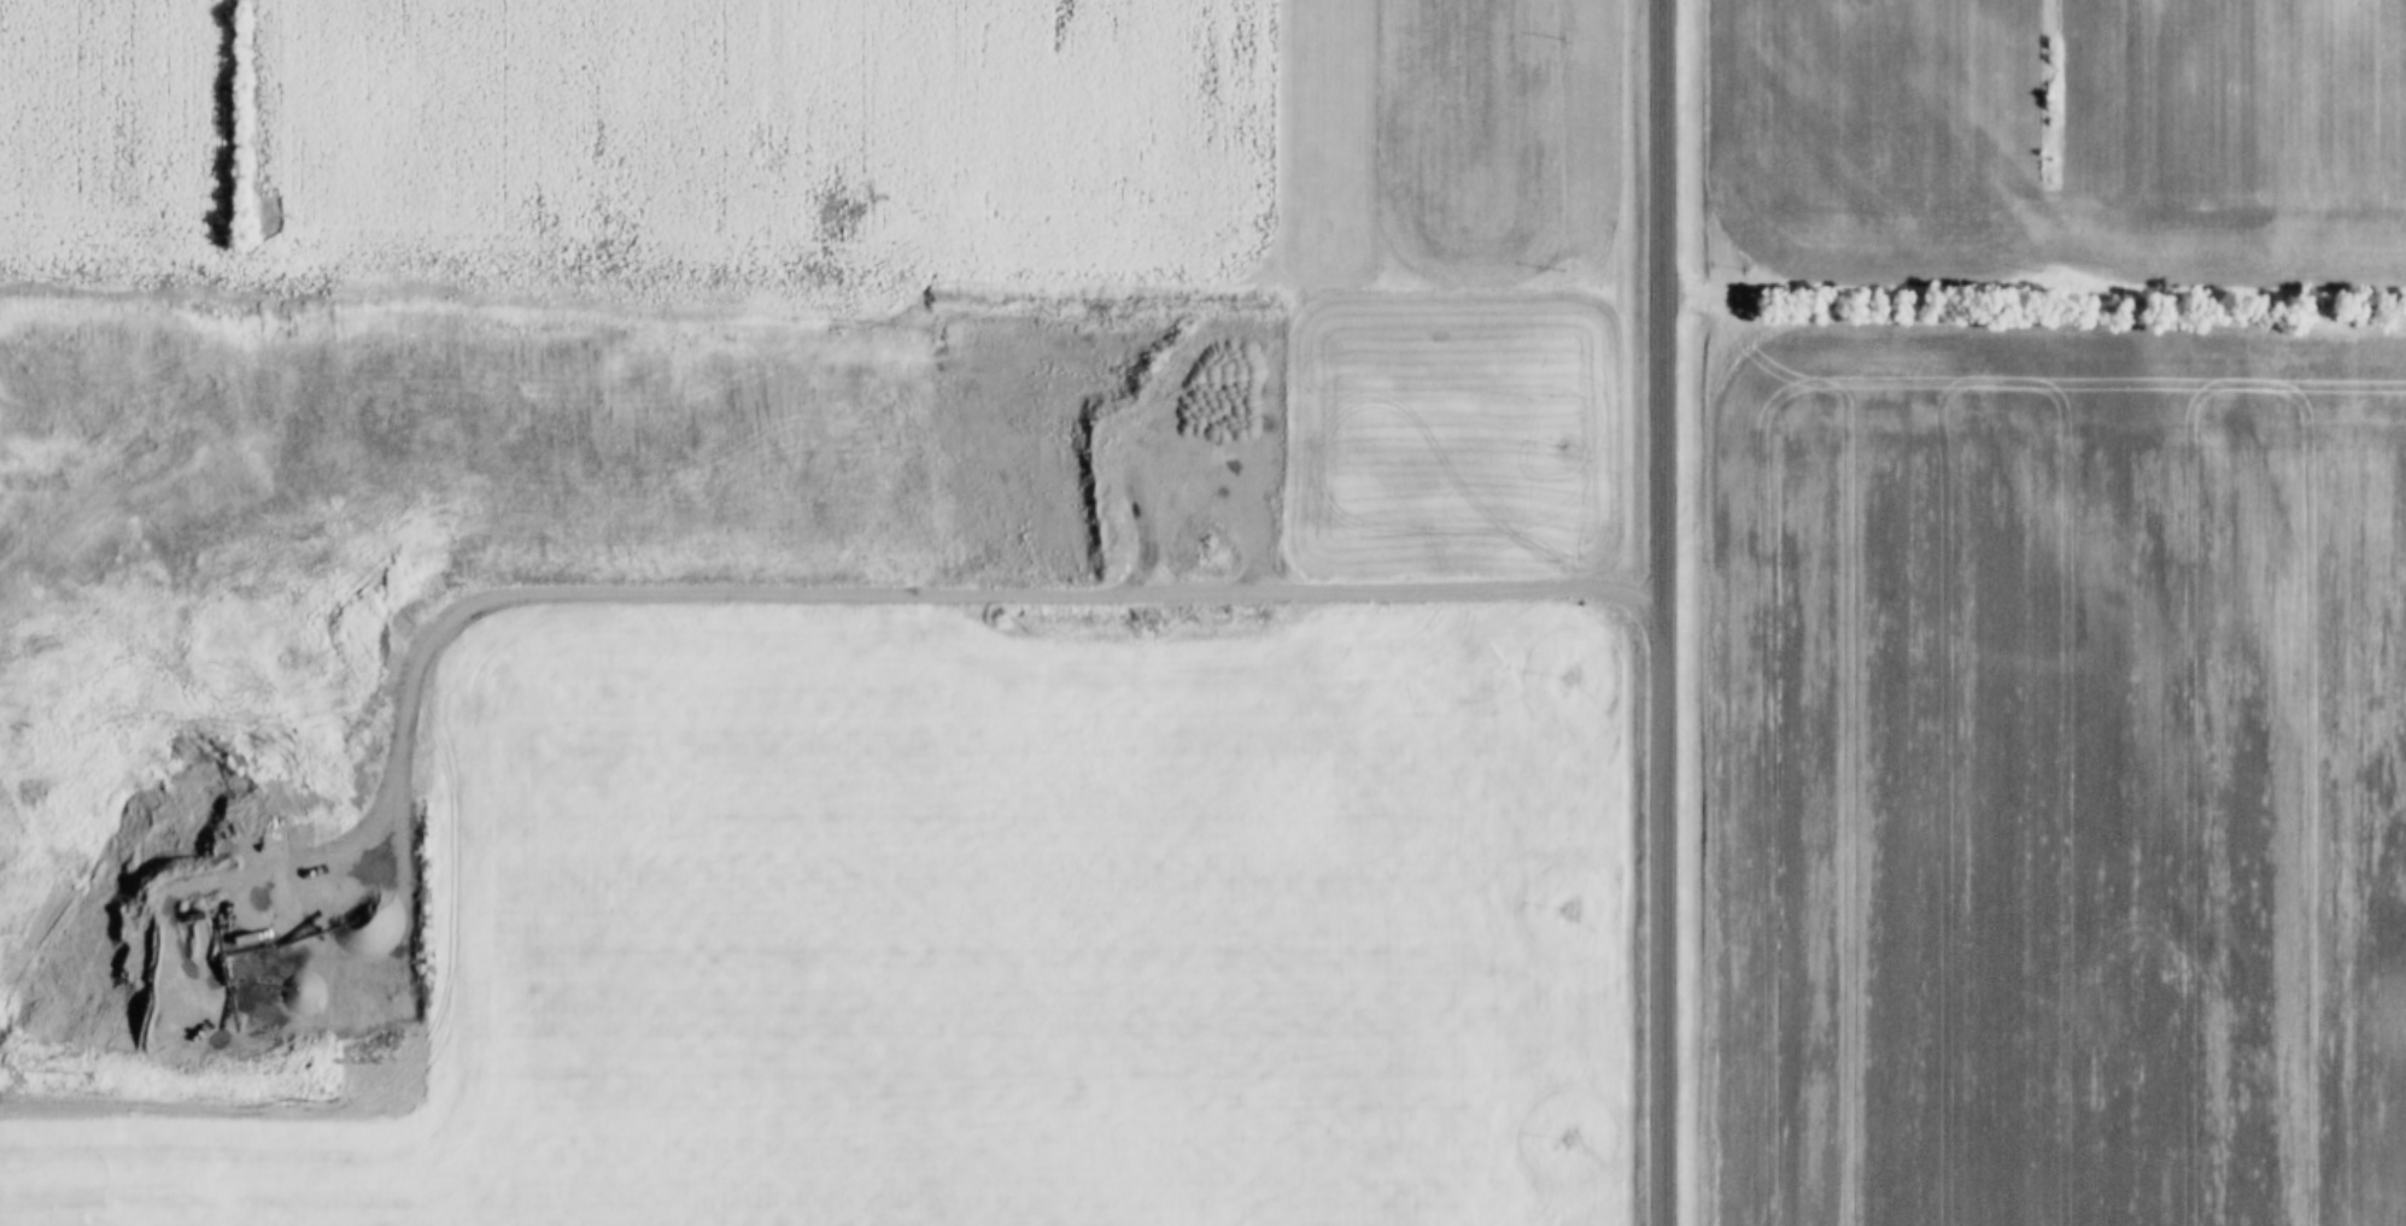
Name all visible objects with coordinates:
airport runway: (1325, 131)
airport: (1325, 135)
quarry: (562, 514)
road: (748, 586)
road: (1661, 612)

